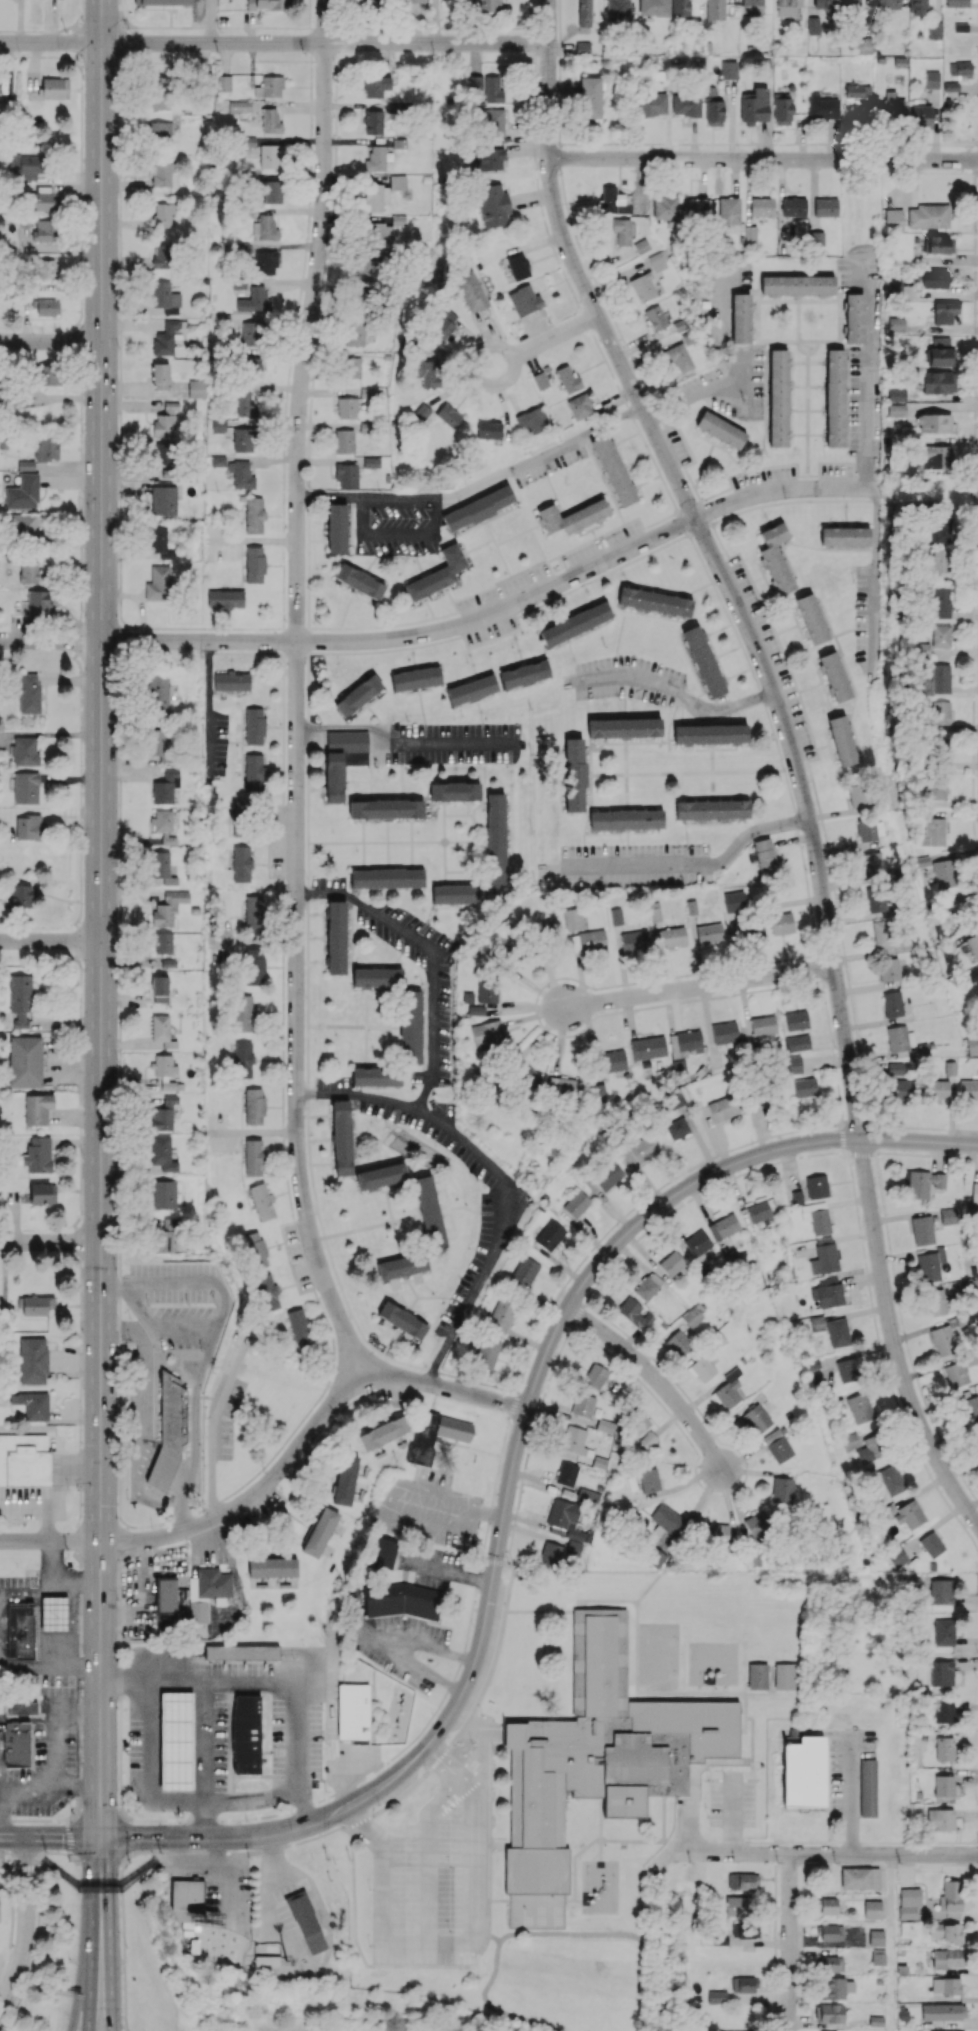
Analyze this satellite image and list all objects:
building: (416, 0)
building: (162, 2)
building: (850, 3)
building: (956, 3)
building: (266, 4)
building: (370, 4)
building: (823, 4)
building: (887, 4)
building: (488, 5)
building: (654, 7)
building: (752, 7)
building: (787, 7)
building: (917, 7)
building: (681, 8)
building: (715, 9)
building: (618, 10)
building: (584, 13)
road: (212, 21)
road: (433, 21)
building: (813, 25)
building: (934, 30)
road: (50, 42)
traffic signals: (101, 43)
road: (325, 43)
building: (862, 45)
building: (960, 68)
building: (728, 69)
building: (932, 79)
building: (475, 82)
building: (224, 83)
building: (376, 86)
building: (269, 87)
building: (54, 88)
building: (493, 89)
building: (857, 91)
building: (161, 92)
building: (590, 97)
building: (652, 104)
building: (686, 104)
building: (754, 105)
building: (893, 105)
building: (240, 106)
building: (822, 107)
building: (782, 108)
building: (714, 113)
building: (921, 116)
building: (271, 121)
building: (373, 122)
building: (492, 122)
building: (159, 129)
building: (270, 155)
building: (490, 157)
building: (376, 159)
road: (763, 159)
building: (25, 163)
building: (163, 174)
building: (397, 182)
building: (272, 191)
building: (375, 197)
building: (40, 201)
building: (613, 201)
building: (493, 205)
building: (697, 206)
building: (762, 206)
building: (794, 206)
building: (826, 206)
building: (665, 208)
building: (729, 210)
building: (163, 214)
building: (929, 216)
building: (893, 220)
building: (265, 228)
building: (44, 230)
building: (622, 231)
building: (376, 233)
building: (817, 238)
building: (940, 244)
building: (641, 245)
building: (161, 255)
building: (265, 262)
building: (518, 266)
building: (47, 269)
building: (366, 270)
building: (648, 278)
building: (934, 278)
building: (708, 280)
building: (797, 284)
building: (471, 291)
building: (165, 297)
building: (254, 299)
building: (524, 300)
building: (46, 306)
building: (947, 312)
building: (655, 317)
building: (740, 317)
building: (854, 318)
building: (443, 324)
building: (252, 332)
building: (355, 335)
building: (165, 338)
road: (50, 341)
road: (544, 342)
building: (939, 356)
building: (677, 357)
building: (350, 367)
building: (251, 368)
building: (428, 372)
building: (48, 374)
building: (160, 376)
road: (732, 377)
building: (567, 378)
building: (540, 380)
road: (875, 382)
building: (939, 382)
building: (196, 388)
building: (896, 395)
building: (778, 397)
building: (834, 397)
building: (244, 403)
building: (579, 406)
building: (346, 407)
building: (896, 409)
building: (448, 415)
building: (532, 419)
building: (165, 421)
building: (934, 423)
building: (489, 429)
building: (721, 429)
building: (242, 439)
building: (344, 441)
building: (47, 448)
building: (164, 452)
building: (936, 457)
building: (218, 460)
building: (371, 462)
building: (26, 465)
building: (613, 469)
building: (241, 474)
building: (346, 475)
road: (478, 485)
building: (23, 492)
building: (163, 500)
building: (478, 507)
building: (254, 515)
building: (573, 516)
building: (24, 525)
building: (336, 527)
building: (941, 527)
building: (845, 536)
building: (157, 538)
building: (775, 557)
building: (940, 560)
building: (254, 564)
building: (28, 572)
building: (437, 573)
building: (359, 581)
building: (158, 583)
building: (225, 598)
building: (655, 601)
building: (38, 602)
building: (940, 603)
road: (498, 611)
building: (811, 618)
building: (575, 623)
building: (940, 636)
road: (50, 641)
building: (921, 649)
building: (704, 661)
building: (524, 673)
building: (834, 676)
building: (416, 678)
building: (940, 678)
building: (231, 681)
road: (297, 688)
building: (472, 689)
road: (678, 690)
building: (29, 693)
building: (157, 694)
building: (358, 695)
building: (940, 712)
building: (254, 725)
building: (624, 727)
building: (710, 733)
building: (843, 741)
building: (159, 743)
road: (397, 743)
building: (939, 749)
building: (24, 750)
road: (792, 750)
building: (342, 759)
building: (253, 772)
building: (574, 774)
building: (26, 787)
building: (165, 787)
building: (936, 788)
building: (454, 791)
building: (858, 795)
building: (386, 808)
building: (712, 809)
building: (240, 818)
building: (626, 819)
building: (29, 826)
building: (163, 826)
building: (867, 829)
building: (933, 832)
building: (496, 841)
building: (765, 856)
road: (697, 861)
building: (241, 863)
building: (873, 863)
building: (162, 867)
building: (944, 872)
building: (387, 878)
road: (100, 892)
building: (456, 893)
building: (21, 896)
building: (878, 899)
building: (734, 901)
building: (958, 906)
building: (168, 908)
building: (253, 913)
building: (616, 916)
building: (573, 918)
building: (548, 923)
building: (781, 923)
building: (757, 926)
building: (709, 933)
building: (883, 934)
building: (336, 937)
building: (670, 937)
road: (50, 940)
building: (588, 940)
building: (635, 941)
building: (163, 942)
building: (973, 945)
building: (508, 955)
road: (434, 956)
building: (168, 962)
building: (254, 966)
building: (889, 969)
building: (972, 975)
building: (377, 977)
road: (698, 987)
building: (159, 989)
building: (487, 989)
building: (20, 998)
building: (892, 1003)
building: (243, 1013)
building: (796, 1020)
building: (763, 1025)
building: (411, 1026)
building: (162, 1031)
building: (724, 1032)
building: (487, 1033)
building: (897, 1038)
building: (797, 1042)
building: (685, 1043)
building: (648, 1047)
building: (243, 1059)
building: (612, 1060)
building: (24, 1061)
building: (794, 1064)
building: (164, 1065)
building: (678, 1065)
building: (896, 1068)
building: (377, 1076)
building: (524, 1076)
building: (166, 1084)
building: (563, 1087)
building: (805, 1087)
building: (968, 1089)
building: (900, 1090)
building: (938, 1090)
building: (598, 1092)
building: (254, 1106)
building: (37, 1108)
building: (721, 1108)
building: (164, 1113)
building: (677, 1128)
building: (342, 1137)
building: (636, 1149)
building: (162, 1153)
building: (38, 1154)
building: (253, 1157)
building: (381, 1176)
building: (607, 1176)
road: (503, 1180)
building: (923, 1183)
building: (816, 1186)
building: (974, 1192)
building: (42, 1193)
building: (163, 1194)
building: (796, 1197)
building: (262, 1201)
building: (576, 1204)
building: (429, 1212)
building: (758, 1212)
building: (948, 1215)
building: (817, 1217)
building: (723, 1226)
building: (922, 1230)
building: (164, 1235)
building: (550, 1235)
road: (50, 1241)
building: (697, 1243)
building: (255, 1249)
building: (824, 1256)
building: (671, 1263)
building: (930, 1264)
building: (402, 1265)
building: (524, 1272)
building: (647, 1286)
building: (267, 1292)
building: (828, 1292)
building: (934, 1302)
building: (36, 1305)
building: (634, 1313)
building: (693, 1314)
building: (501, 1315)
building: (402, 1320)
building: (817, 1323)
road: (165, 1326)
building: (298, 1327)
building: (838, 1332)
road: (213, 1339)
building: (943, 1340)
building: (679, 1343)
building: (486, 1353)
building: (33, 1360)
building: (847, 1369)
road: (539, 1371)
building: (956, 1374)
building: (595, 1376)
road: (656, 1378)
road: (445, 1387)
building: (728, 1389)
building: (32, 1404)
building: (583, 1405)
building: (860, 1408)
building: (970, 1408)
road: (141, 1416)
building: (756, 1418)
building: (637, 1421)
building: (167, 1432)
building: (383, 1432)
building: (436, 1434)
building: (977, 1434)
building: (575, 1440)
building: (649, 1440)
building: (851, 1440)
building: (777, 1445)
building: (869, 1450)
building: (24, 1459)
building: (566, 1473)
building: (345, 1479)
building: (649, 1479)
building: (892, 1479)
building: (782, 1489)
road: (256, 1492)
building: (906, 1514)
building: (567, 1518)
road: (182, 1519)
building: (665, 1520)
building: (756, 1520)
building: (320, 1532)
building: (715, 1533)
road: (50, 1541)
building: (931, 1544)
building: (573, 1548)
building: (381, 1552)
building: (551, 1554)
building: (898, 1556)
building: (654, 1557)
building: (272, 1566)
road: (448, 1571)
road: (61, 1577)
building: (940, 1591)
road: (641, 1594)
building: (166, 1595)
building: (205, 1596)
building: (402, 1600)
building: (53, 1613)
building: (20, 1630)
building: (944, 1632)
road: (373, 1636)
road: (69, 1637)
building: (241, 1651)
building: (941, 1673)
building: (757, 1676)
building: (784, 1676)
road: (728, 1694)
road: (207, 1706)
building: (22, 1707)
road: (301, 1707)
building: (353, 1712)
building: (944, 1712)
road: (29, 1717)
road: (477, 1729)
road: (55, 1731)
building: (246, 1734)
building: (176, 1741)
building: (17, 1747)
building: (945, 1748)
road: (496, 1751)
building: (603, 1756)
road: (441, 1763)
road: (149, 1764)
building: (803, 1772)
road: (418, 1780)
road: (77, 1784)
building: (944, 1785)
building: (868, 1787)
road: (26, 1788)
road: (1, 1794)
road: (852, 1795)
parking lot: (732, 1796)
road: (255, 1799)
road: (1, 1807)
road: (729, 1811)
road: (101, 1812)
building: (940, 1819)
road: (687, 1828)
road: (369, 1829)
road: (258, 1839)
road: (13, 1840)
road: (64, 1840)
traffic signals: (101, 1840)
road: (154, 1840)
road: (34, 1847)
road: (832, 1853)
road: (426, 1856)
road: (574, 1860)
road: (80, 1864)
road: (61, 1872)
road: (142, 1873)
parking lot: (437, 1873)
building: (695, 1873)
building: (860, 1878)
building: (742, 1881)
road: (92, 1886)
road: (102, 1888)
building: (950, 1896)
building: (186, 1899)
building: (909, 1902)
building: (738, 1904)
building: (828, 1905)
building: (872, 1909)
building: (306, 1922)
road: (124, 1925)
road: (25, 1927)
building: (907, 1928)
building: (748, 1929)
building: (830, 1932)
building: (946, 1932)
road: (109, 1935)
building: (876, 1937)
road: (789, 1942)
road: (463, 1943)
street lamp: (128, 1946)
building: (878, 1956)
building: (946, 1958)
building: (266, 1959)
street lamp: (68, 1961)
building: (831, 1963)
road: (475, 1967)
road: (82, 1983)
road: (89, 1983)
building: (744, 1984)
building: (951, 1985)
building: (837, 1987)
building: (717, 1996)
building: (943, 2011)
building: (829, 2013)
building: (876, 2020)
street lamp: (129, 2030)
building: (834, 2030)
building: (941, 2030)

